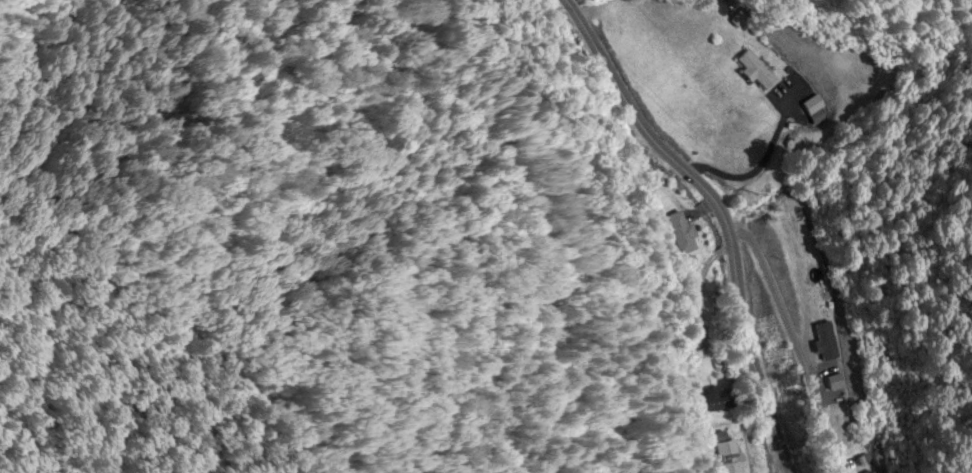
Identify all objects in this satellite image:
building: (752, 72)
building: (814, 112)
building: (652, 199)
road: (725, 212)
building: (679, 234)
building: (706, 401)
road: (324, 410)
building: (718, 457)
building: (873, 472)

